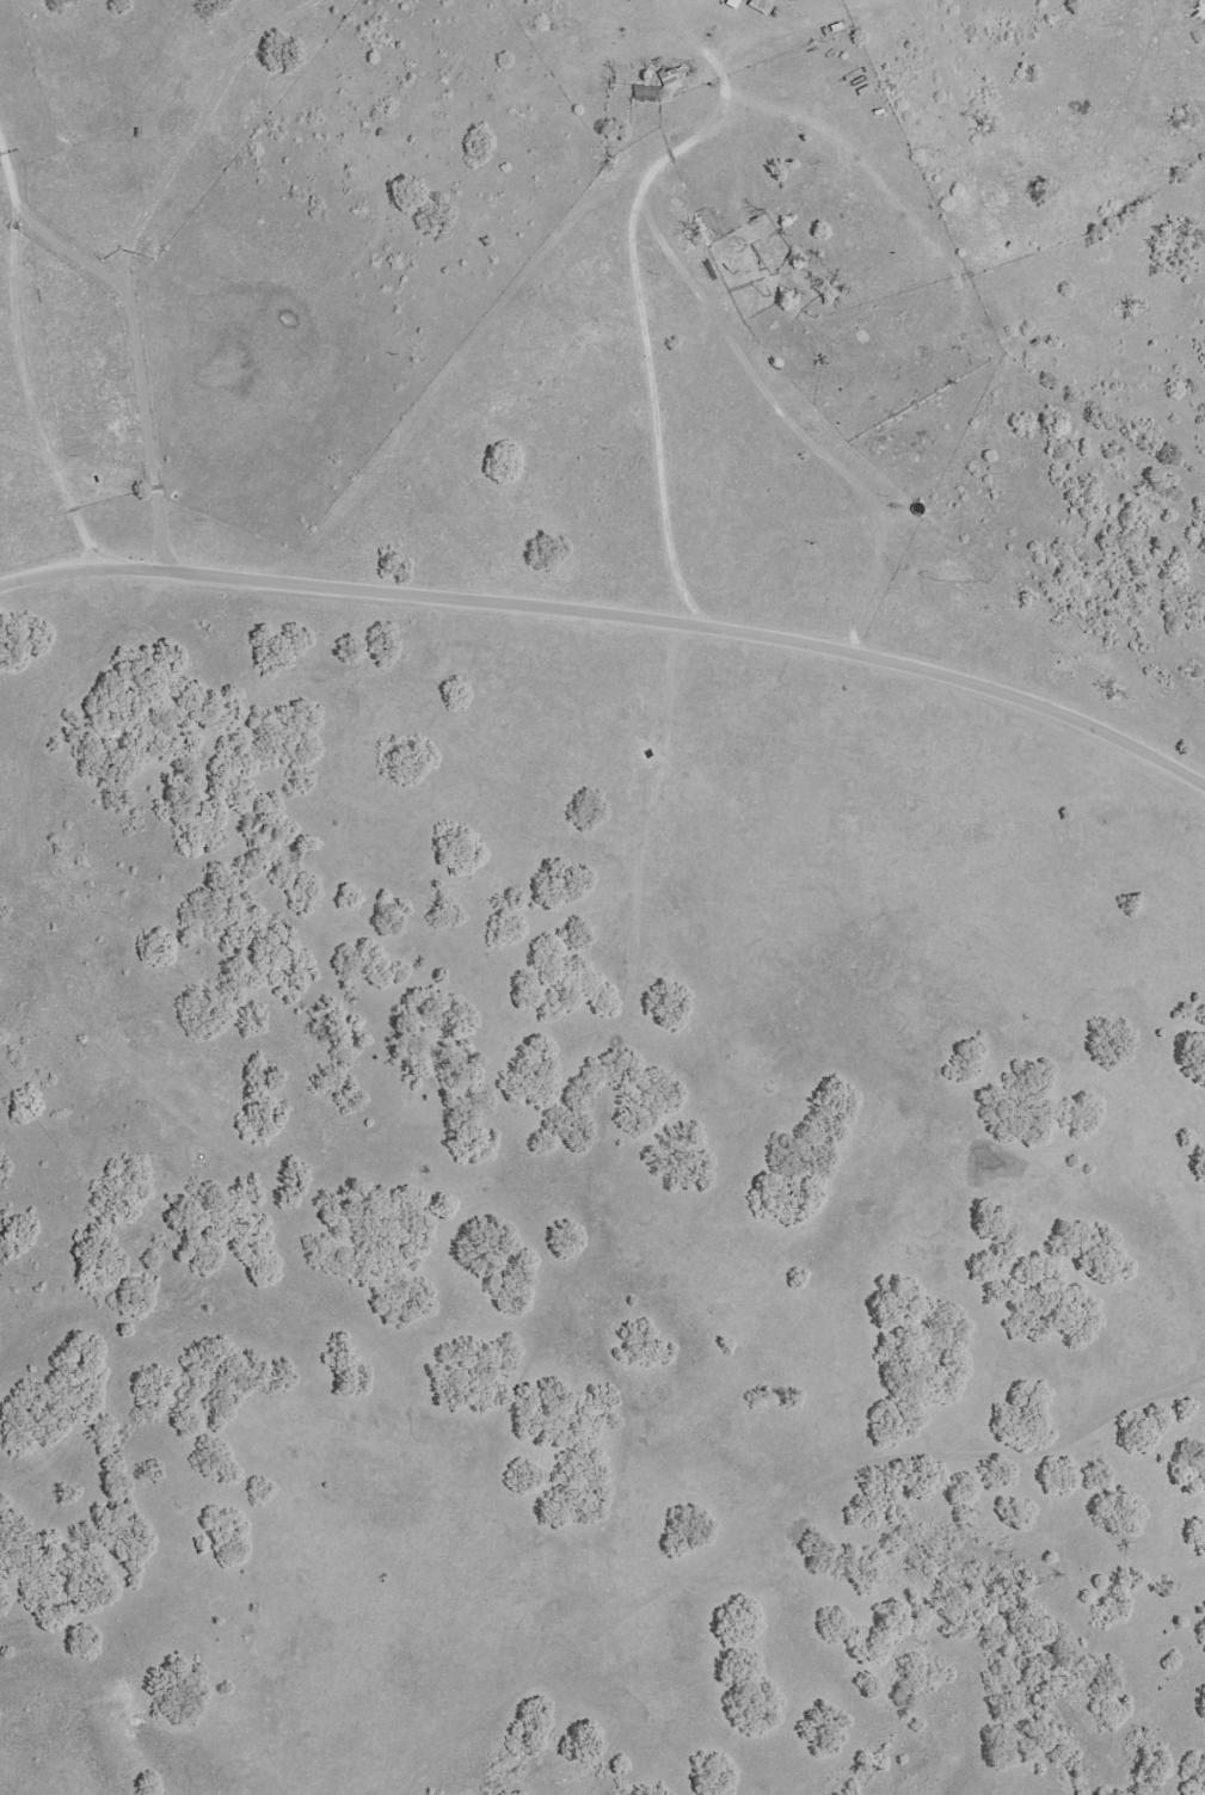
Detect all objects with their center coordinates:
building: (728, 4)
building: (756, 5)
building: (664, 80)
road: (640, 319)
road: (133, 352)
road: (20, 354)
road: (614, 613)

